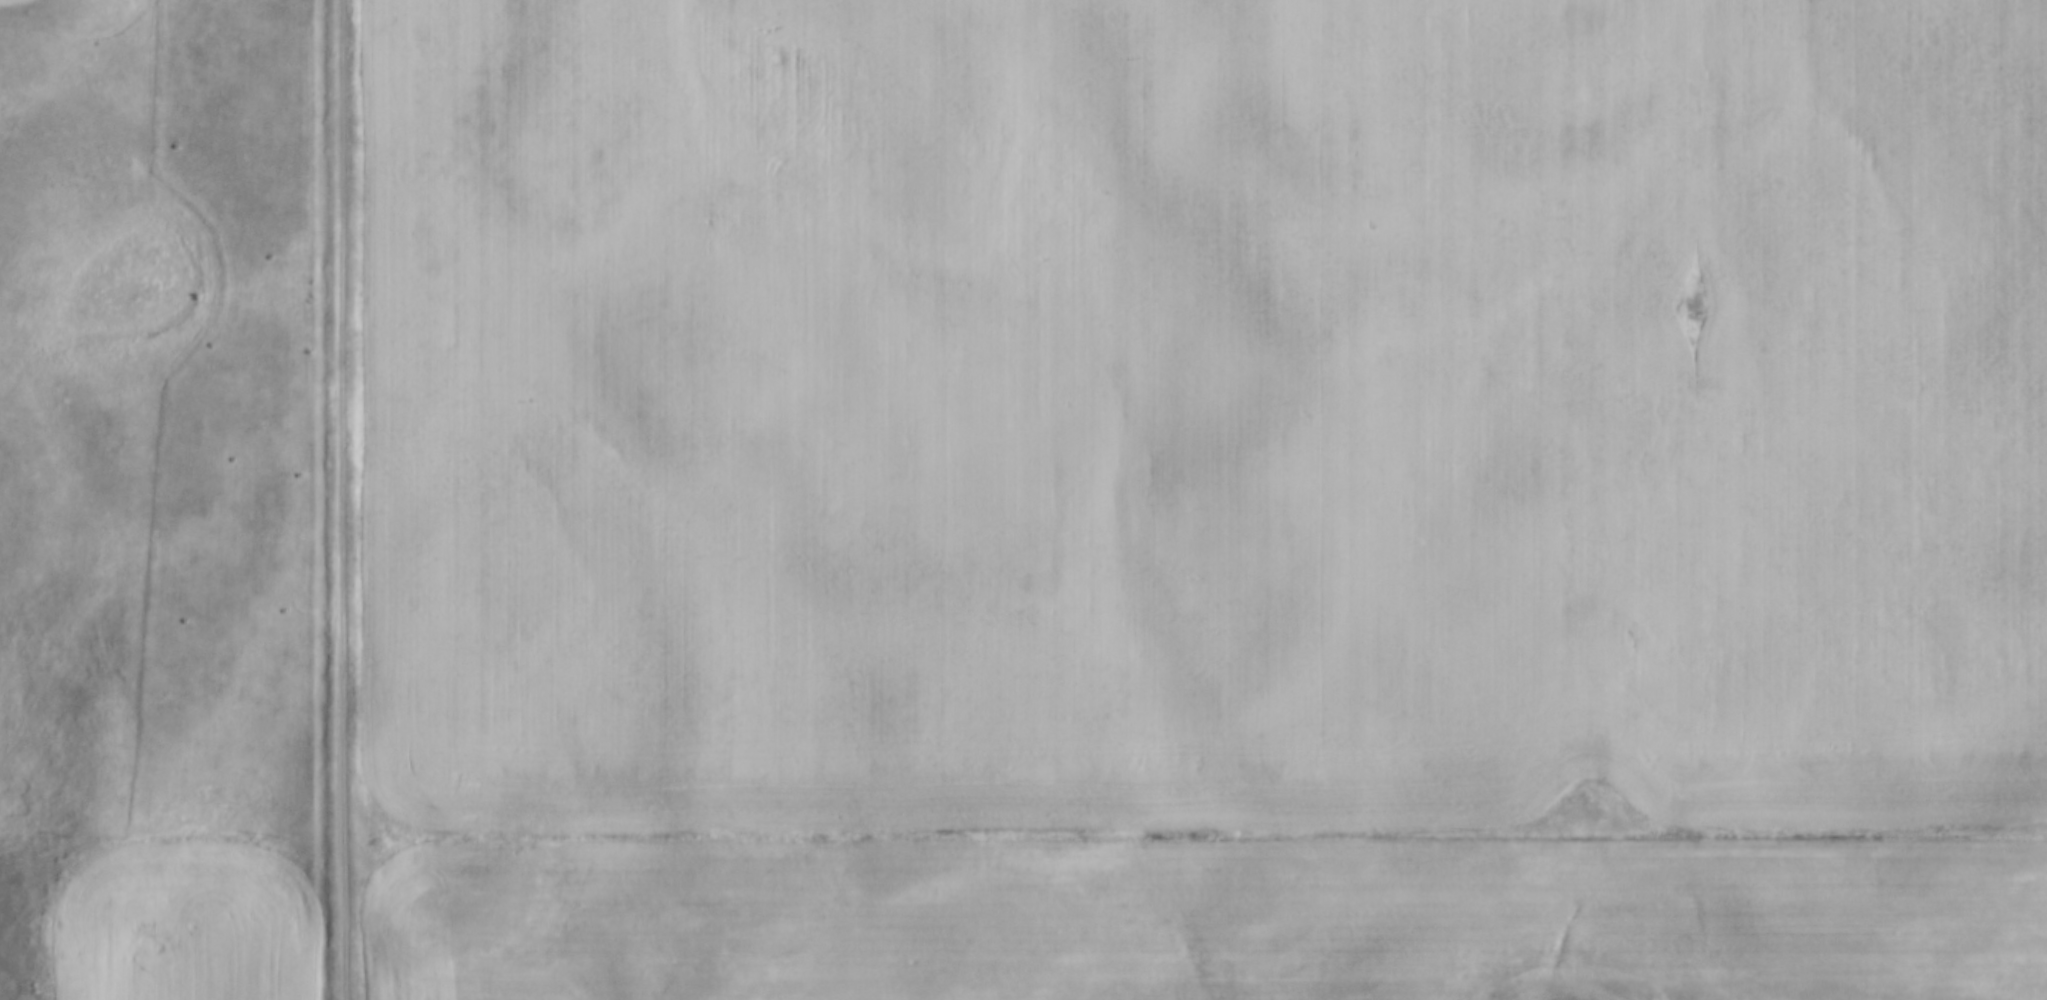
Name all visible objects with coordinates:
road: (341, 500)

